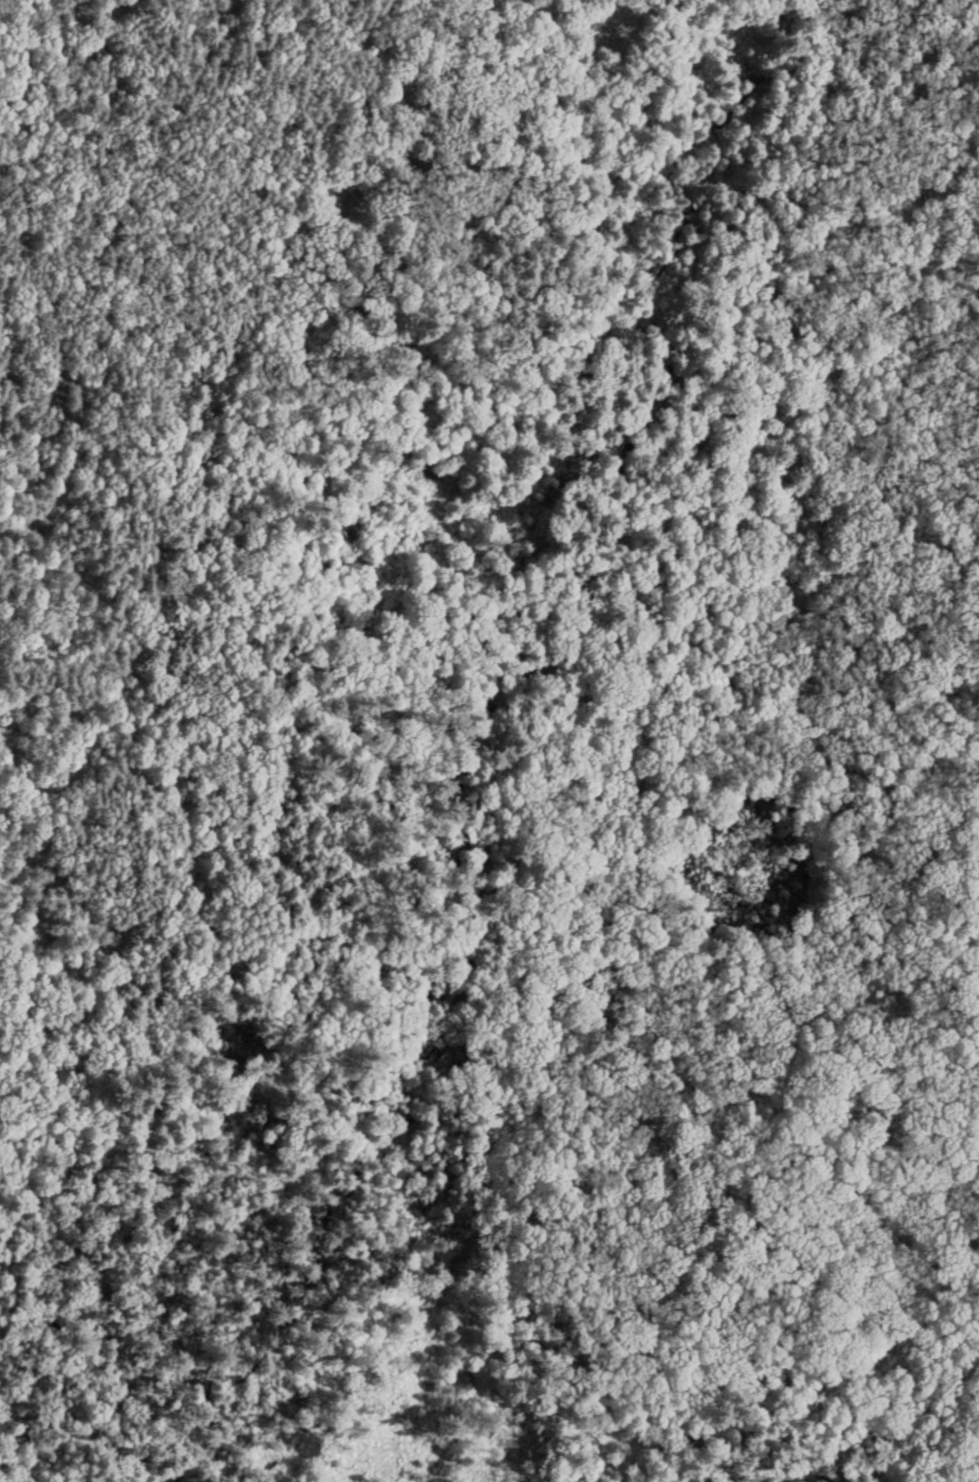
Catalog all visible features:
road: (872, 1205)

